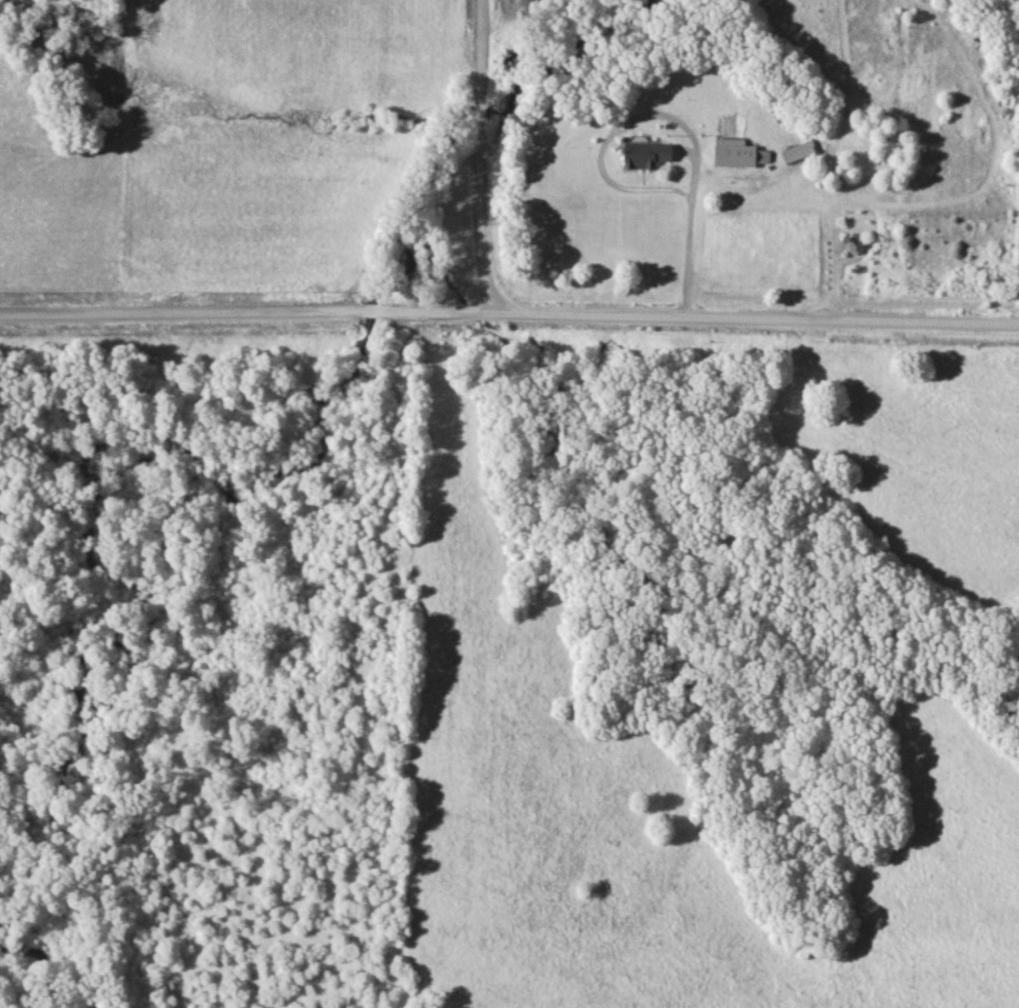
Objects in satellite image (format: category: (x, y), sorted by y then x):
road: (484, 47)
river: (601, 47)
road: (639, 114)
road: (485, 120)
building: (796, 151)
building: (735, 153)
building: (643, 154)
road: (486, 229)
road: (691, 252)
road: (509, 313)

